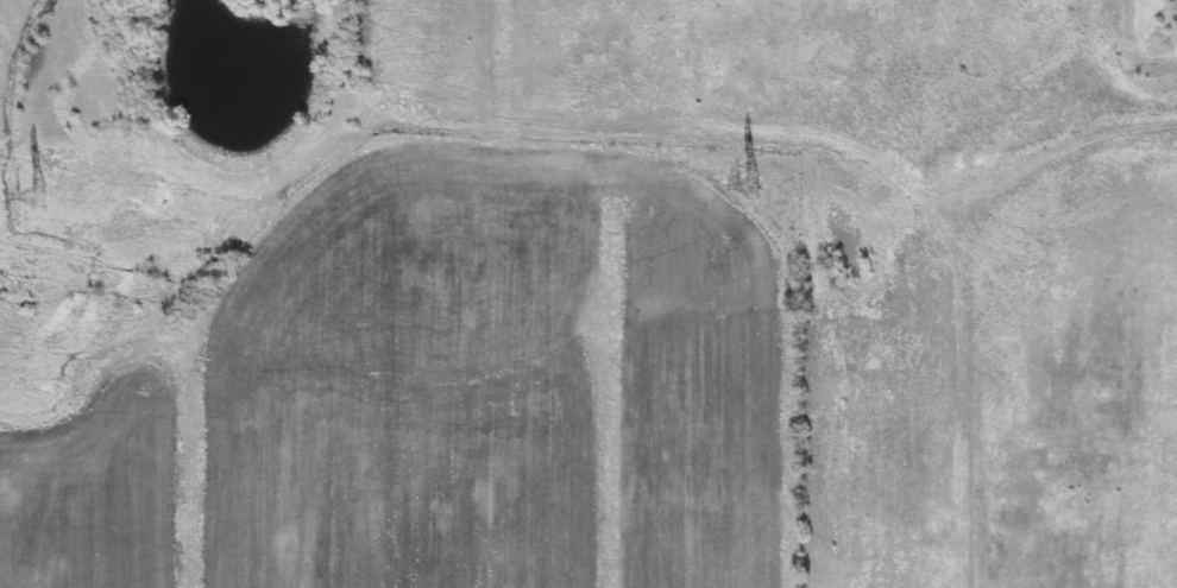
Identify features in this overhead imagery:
power tower: (744, 184)
power tower: (31, 195)

